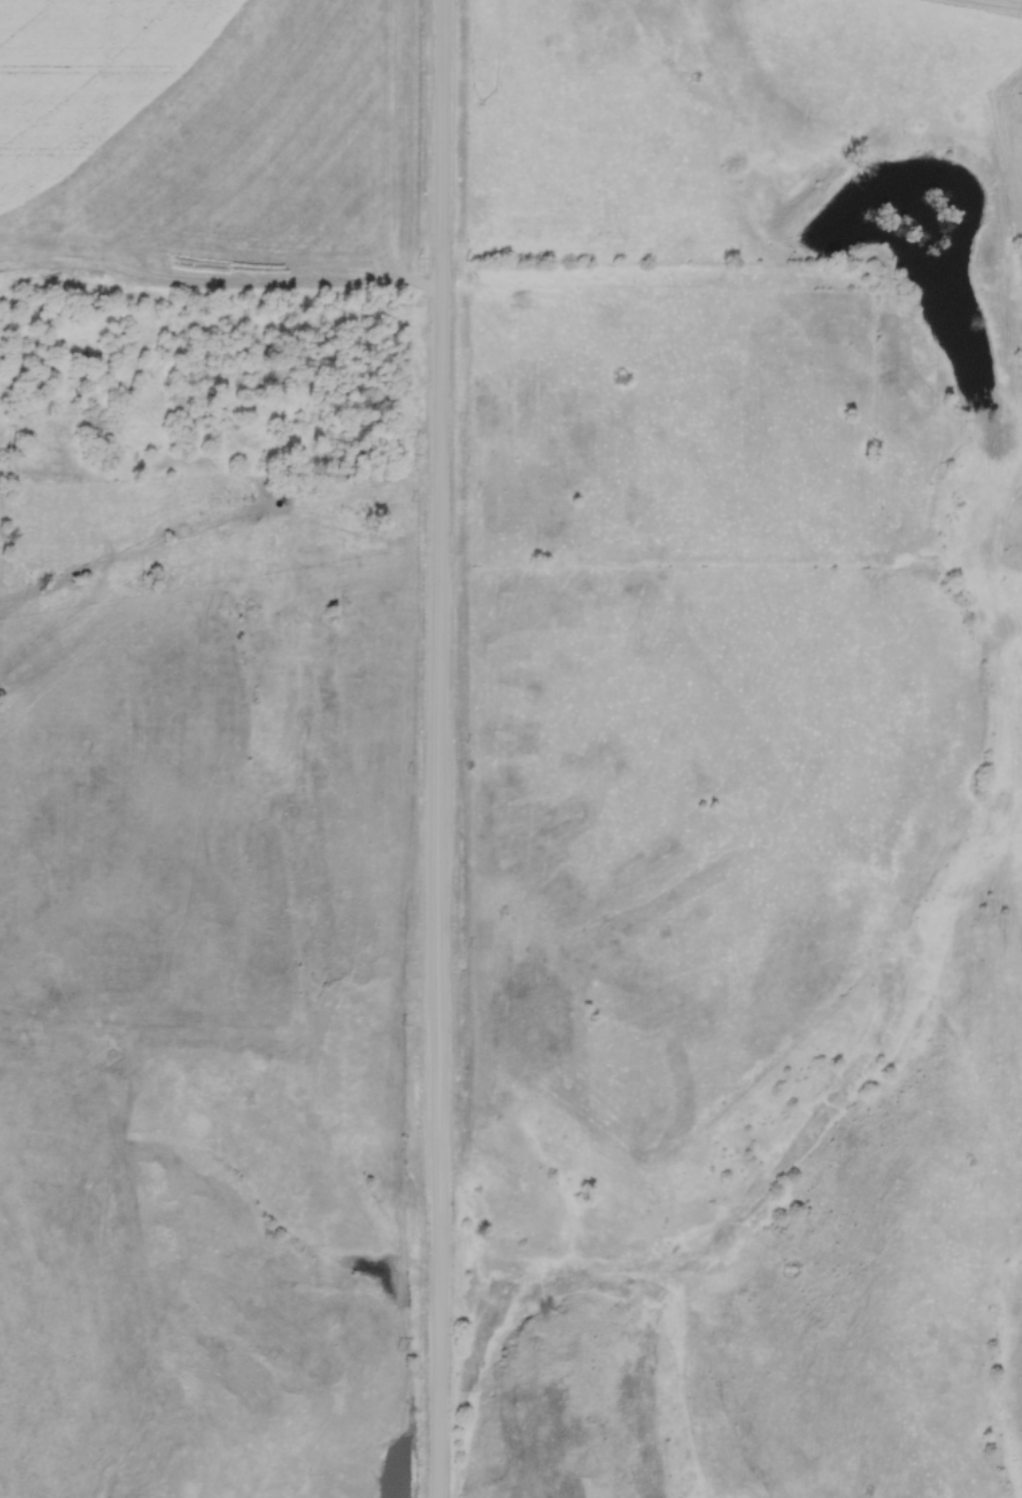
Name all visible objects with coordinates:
road: (438, 748)

